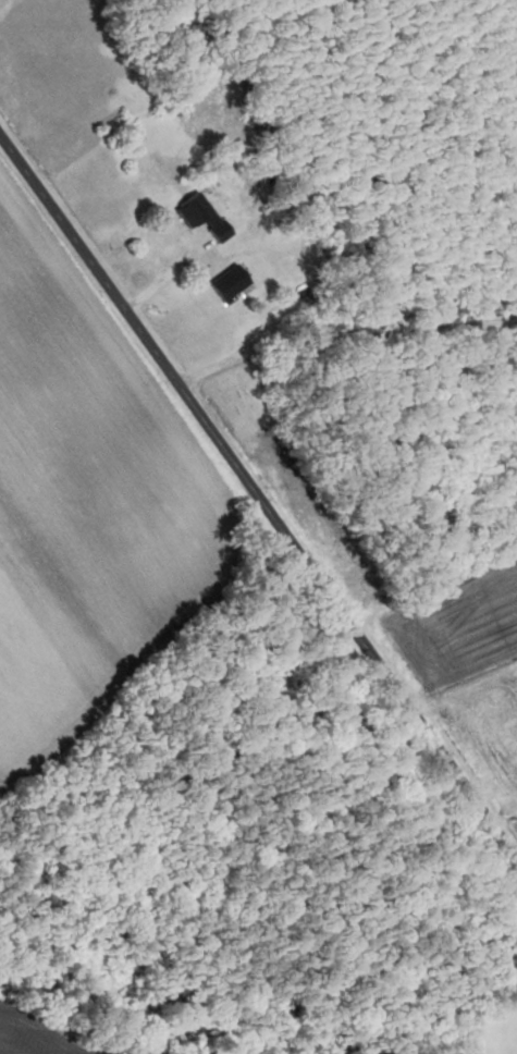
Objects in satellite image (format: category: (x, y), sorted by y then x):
building: (163, 233)
road: (261, 499)

